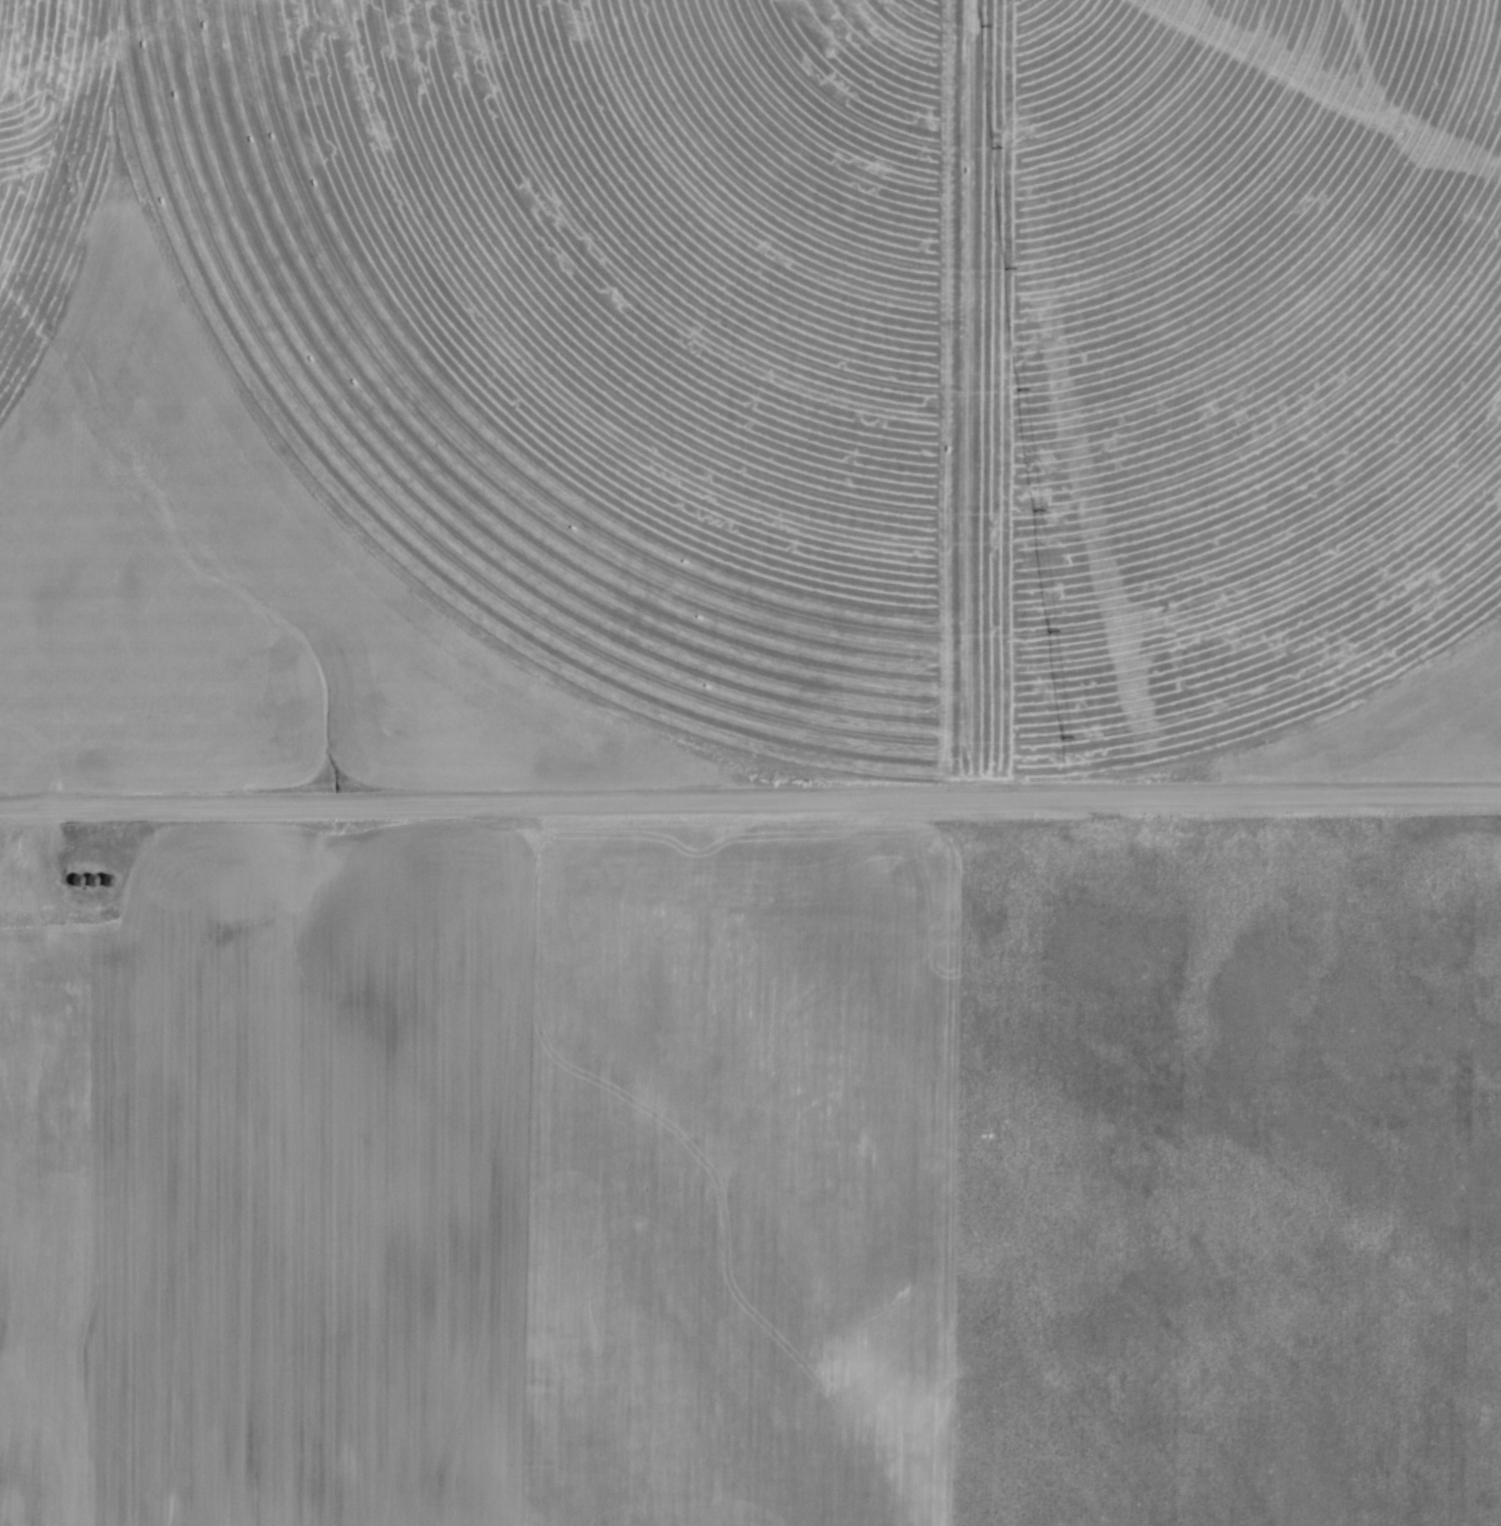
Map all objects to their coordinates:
road: (750, 798)
road: (2, 817)
crop: (472, 1179)

